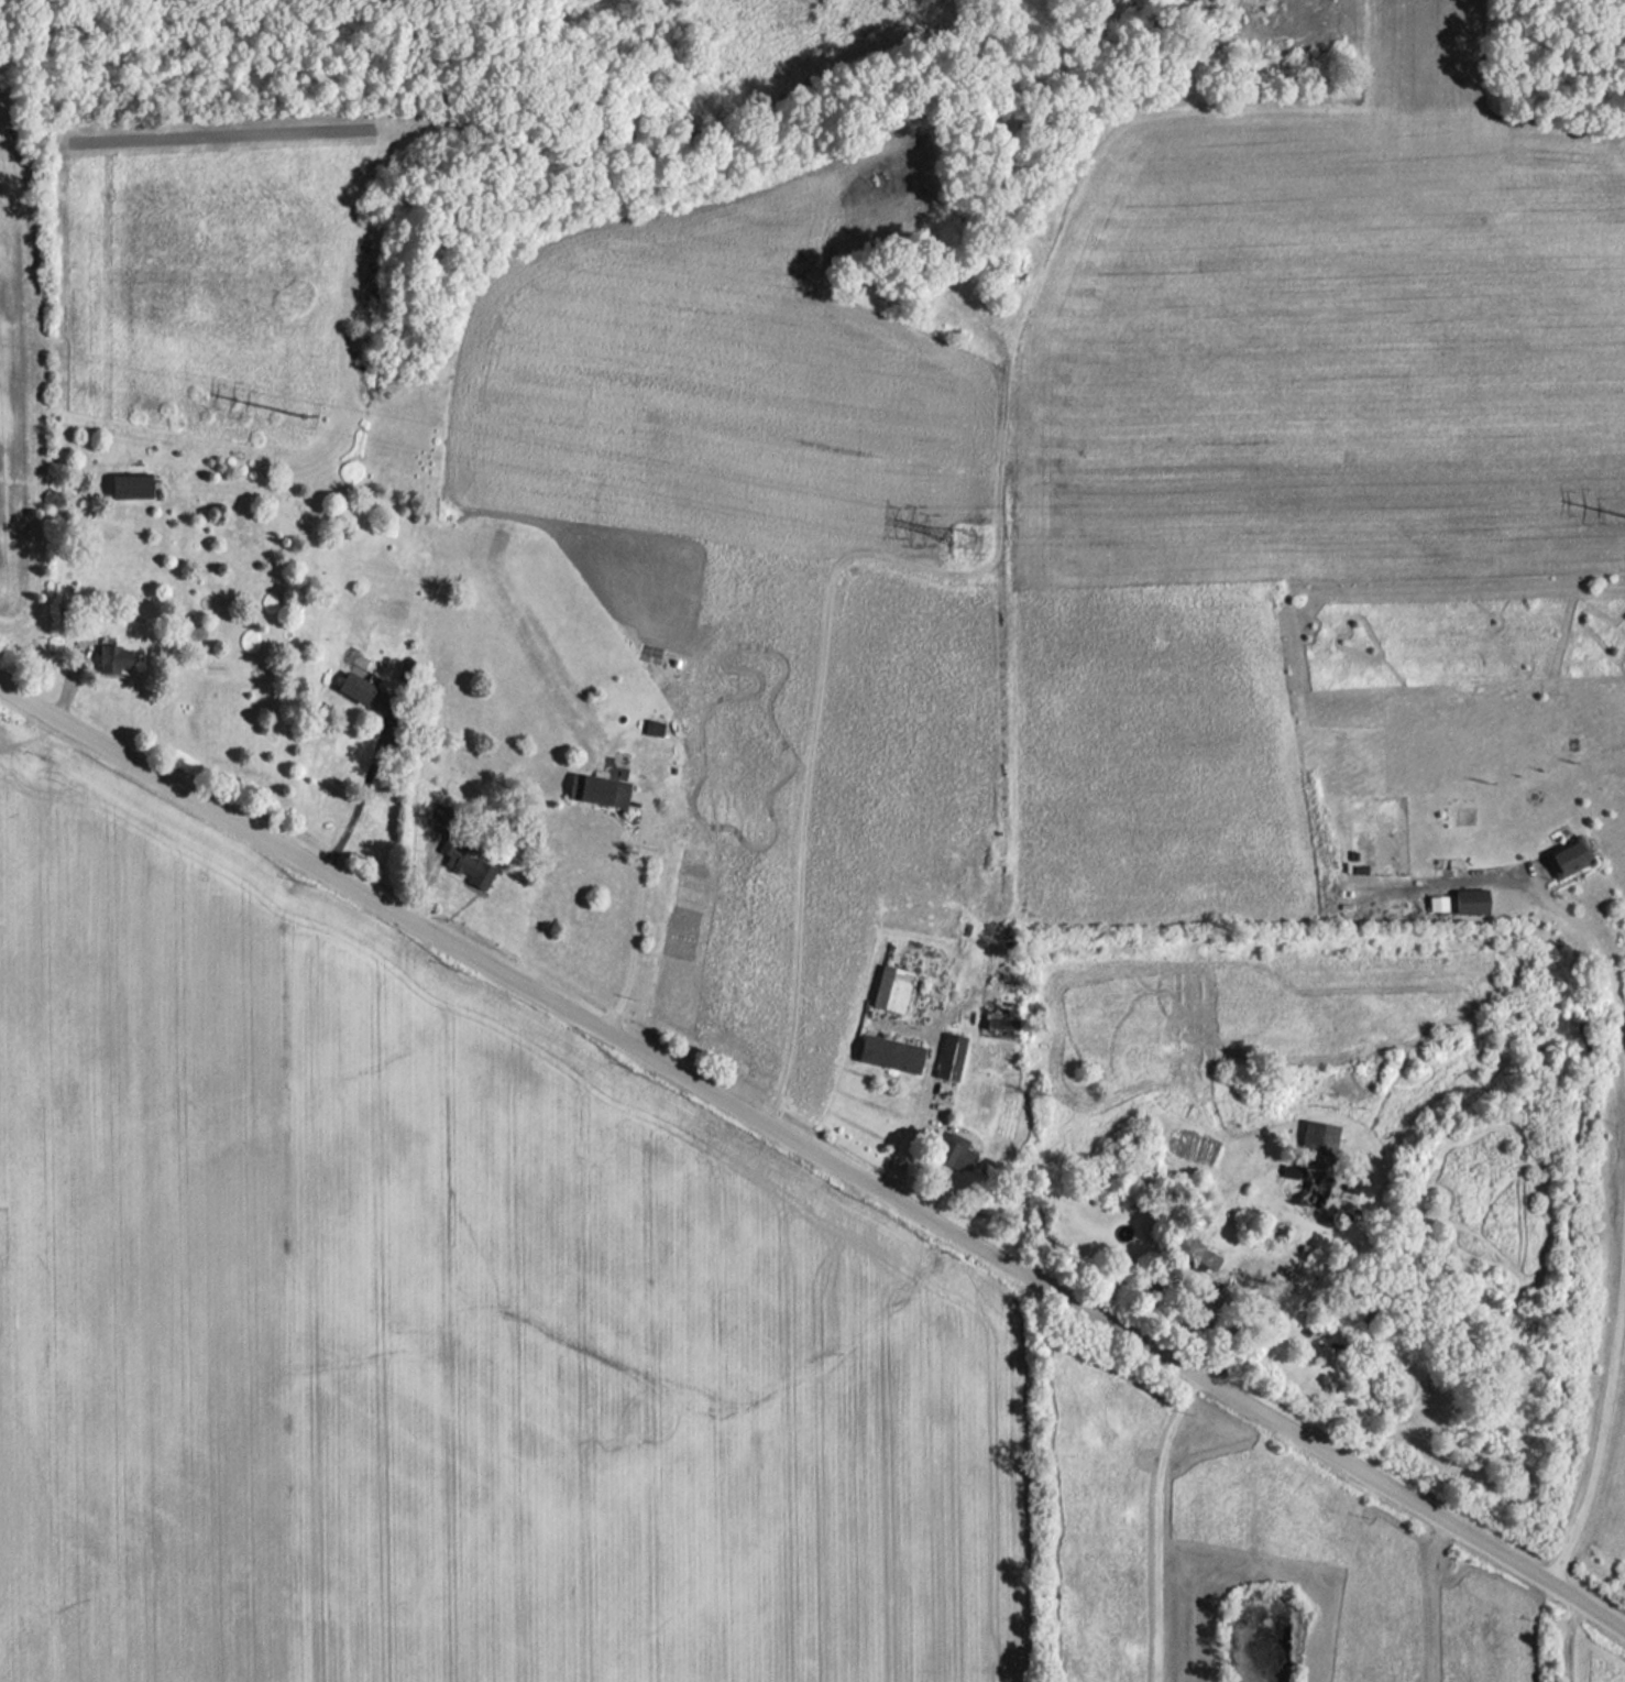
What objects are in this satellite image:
power tower: (303, 413)
building: (132, 485)
power tower: (965, 538)
building: (113, 657)
building: (655, 727)
building: (599, 789)
road: (369, 812)
building: (1569, 858)
building: (466, 862)
building: (1471, 900)
building: (1438, 903)
road: (637, 920)
road: (1607, 958)
building: (892, 987)
building: (1002, 1027)
building: (891, 1052)
building: (951, 1056)
road: (920, 1113)
building: (1315, 1149)
building: (956, 1151)
road: (815, 1153)
building: (1194, 1253)
road: (1602, 1422)
road: (1161, 1523)
road: (1430, 1601)
road: (1570, 1641)

